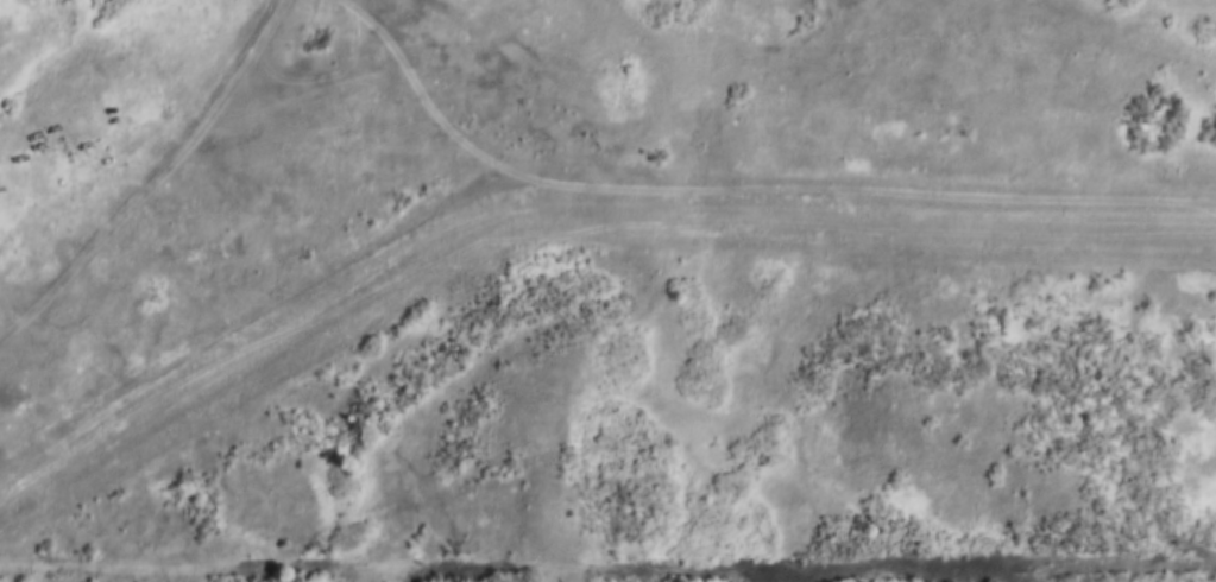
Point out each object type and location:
road: (146, 132)

